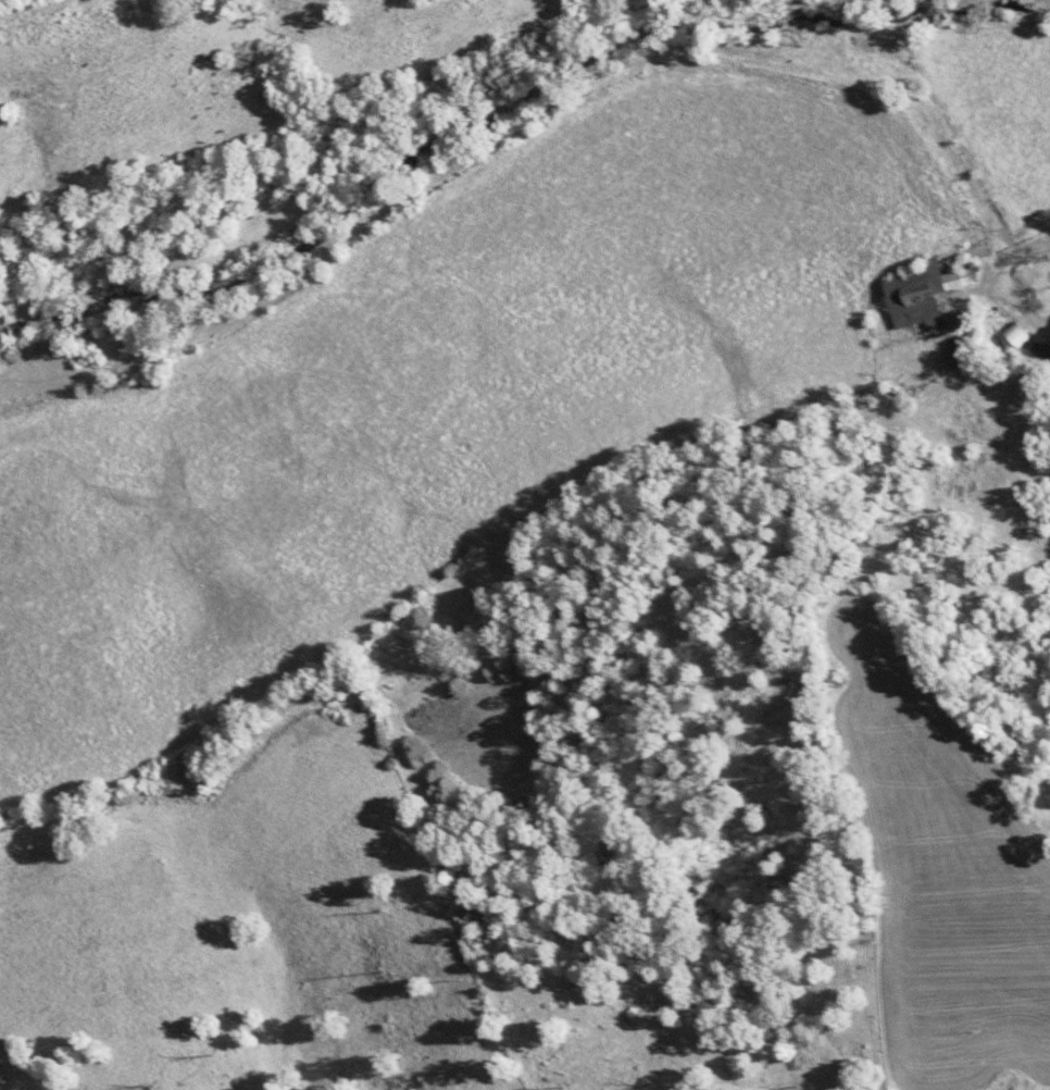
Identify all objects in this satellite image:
building: (921, 295)
building: (940, 325)
building: (1043, 349)

